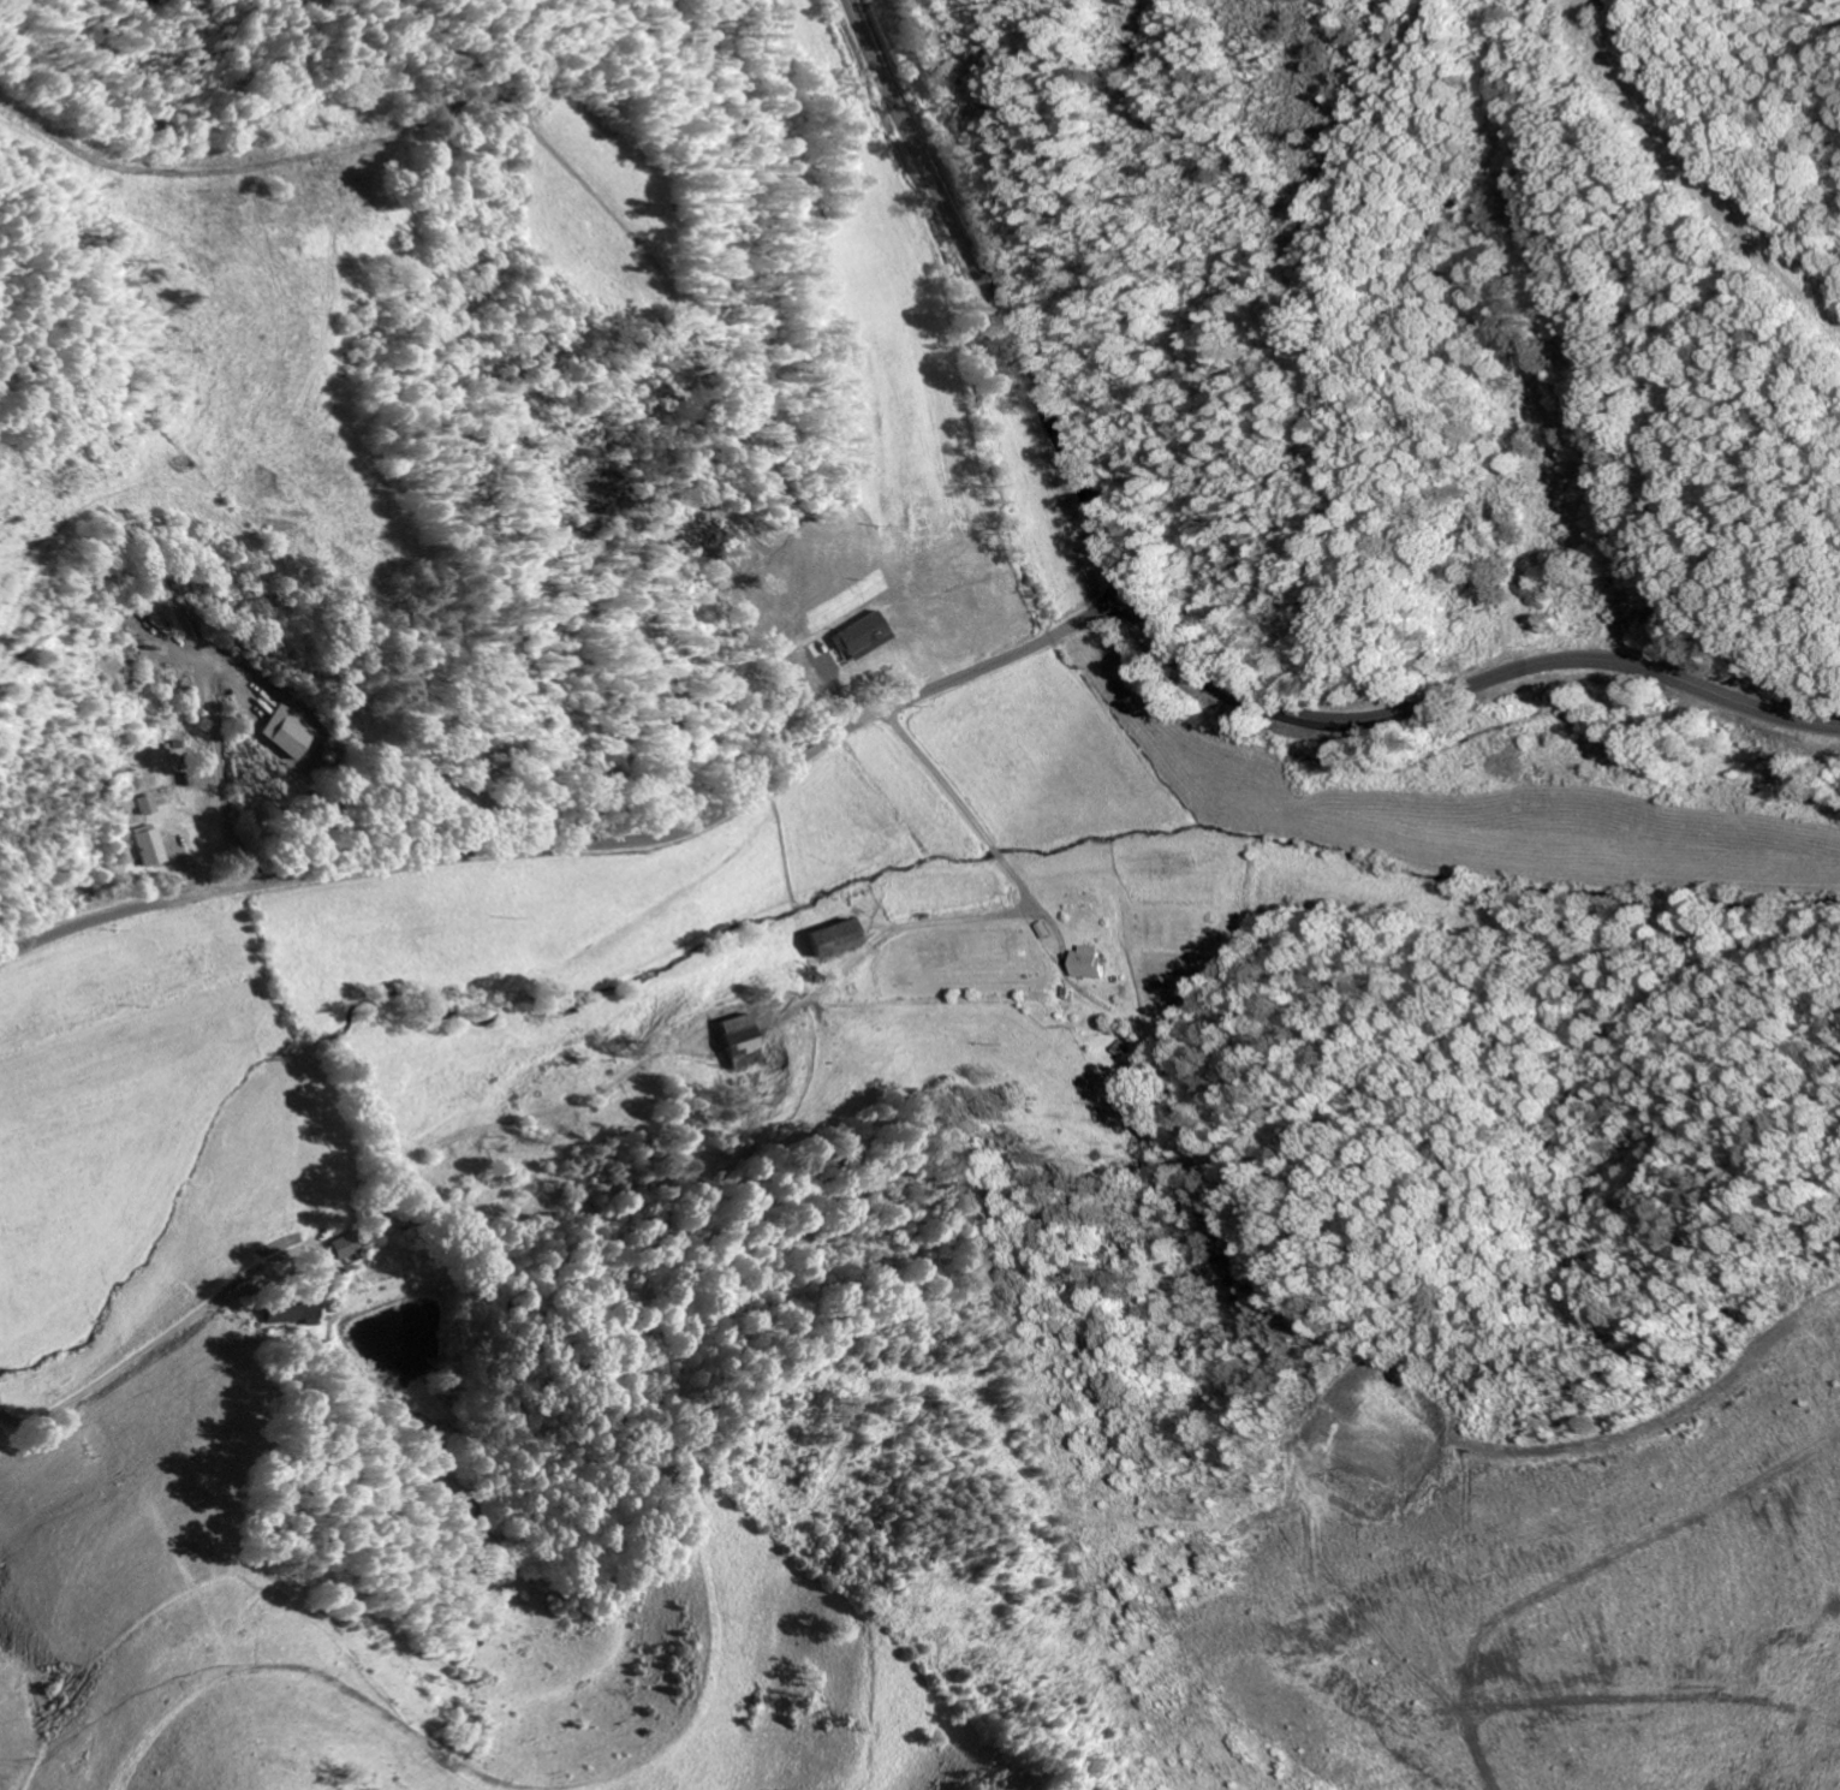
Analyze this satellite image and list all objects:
building: (858, 637)
road: (1166, 641)
building: (280, 733)
building: (144, 805)
road: (589, 840)
building: (147, 848)
road: (943, 860)
building: (830, 938)
building: (1083, 962)
building: (732, 1034)
building: (346, 1245)
building: (290, 1310)

